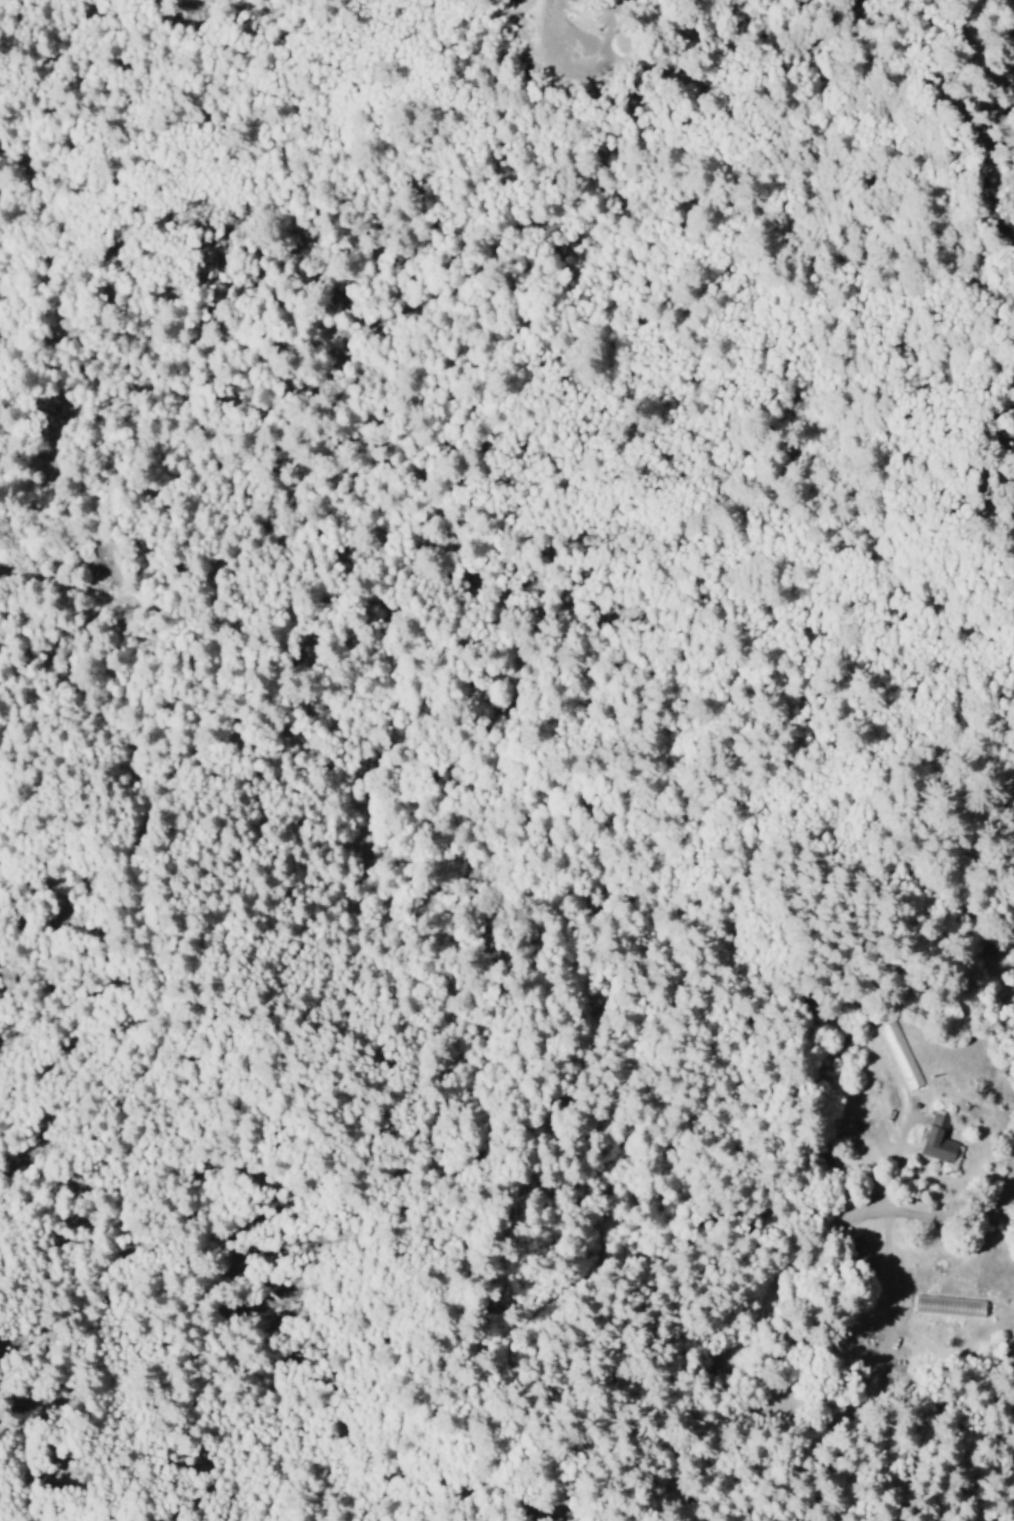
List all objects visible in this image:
building: (900, 1057)
road: (893, 1355)

